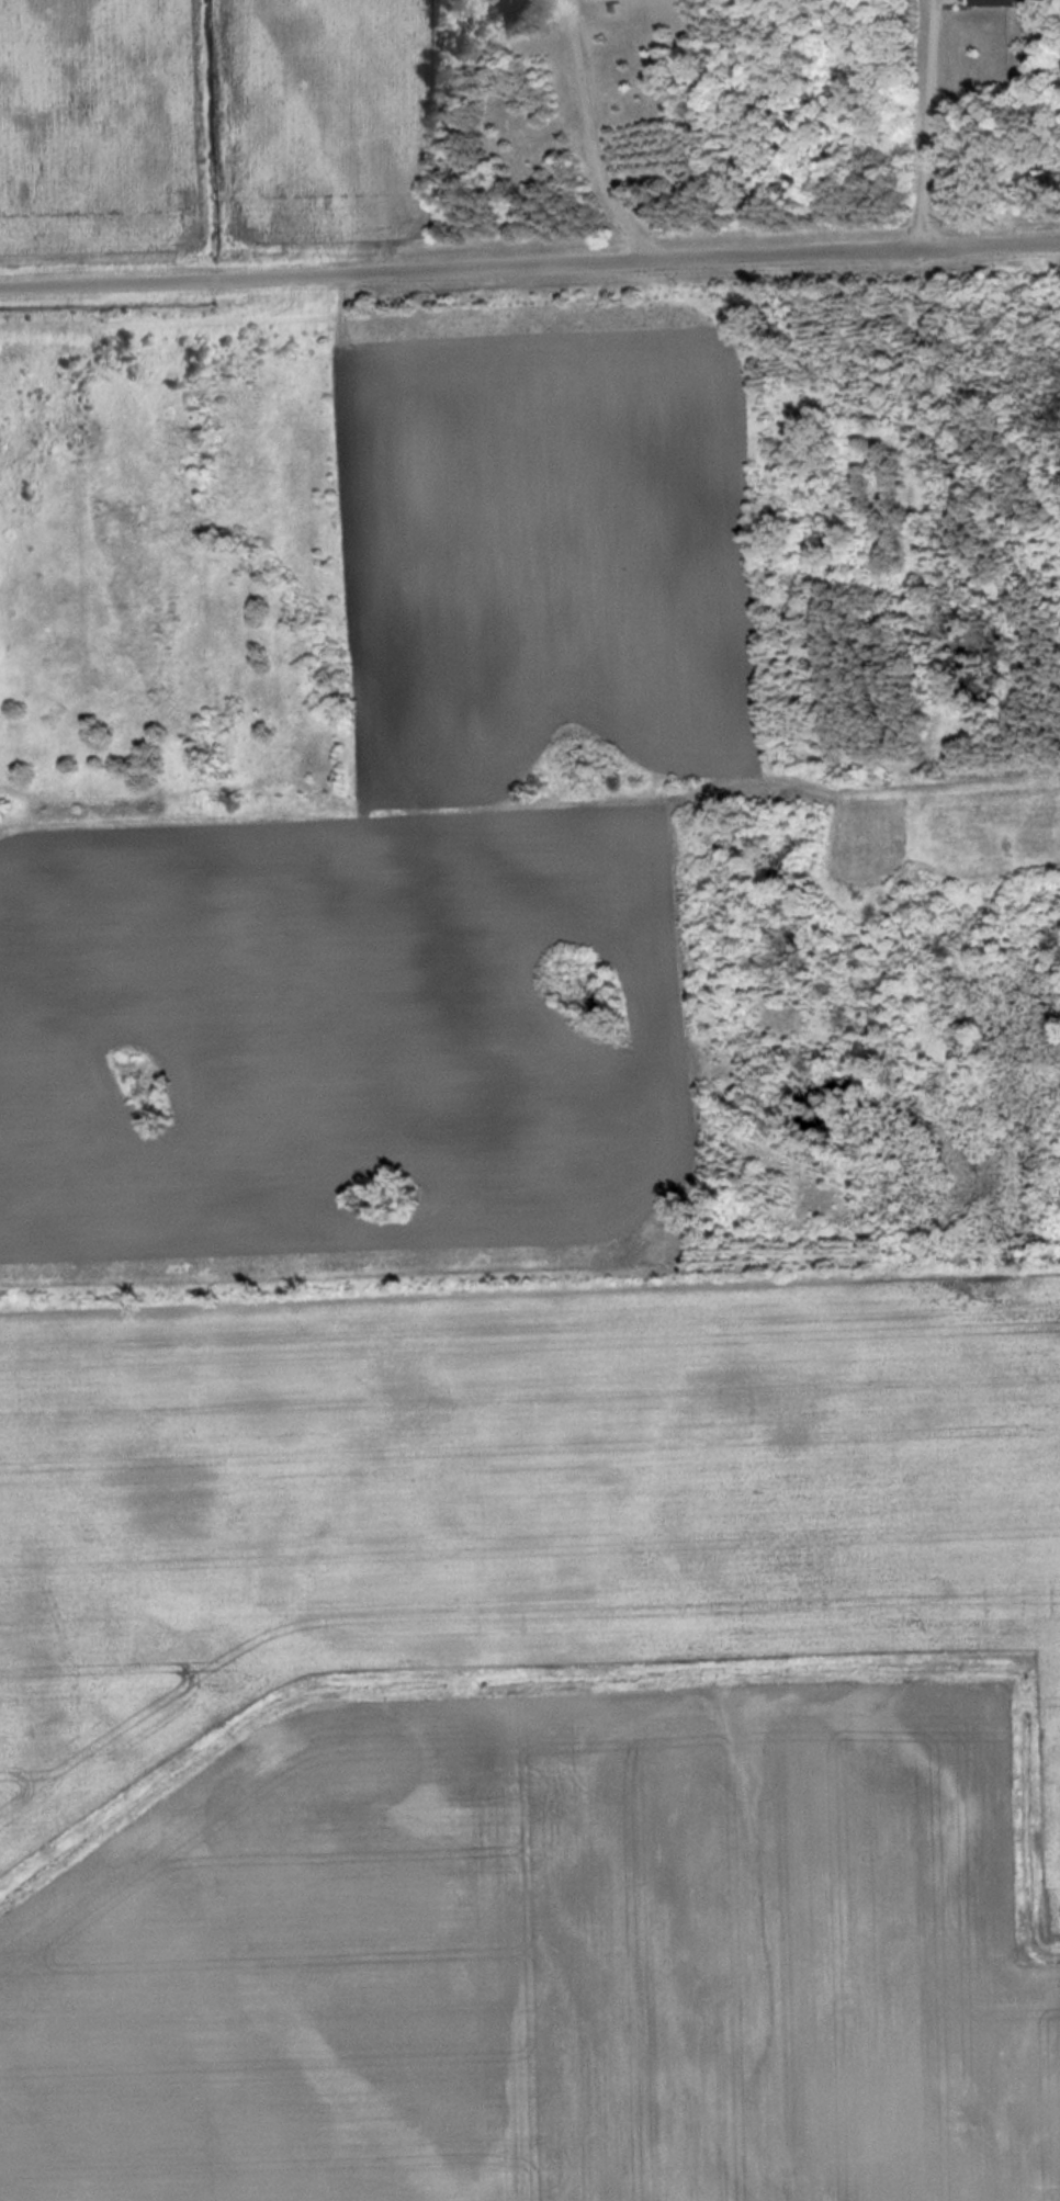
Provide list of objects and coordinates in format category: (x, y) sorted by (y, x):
building: (1012, 2)
building: (622, 15)
road: (530, 268)

